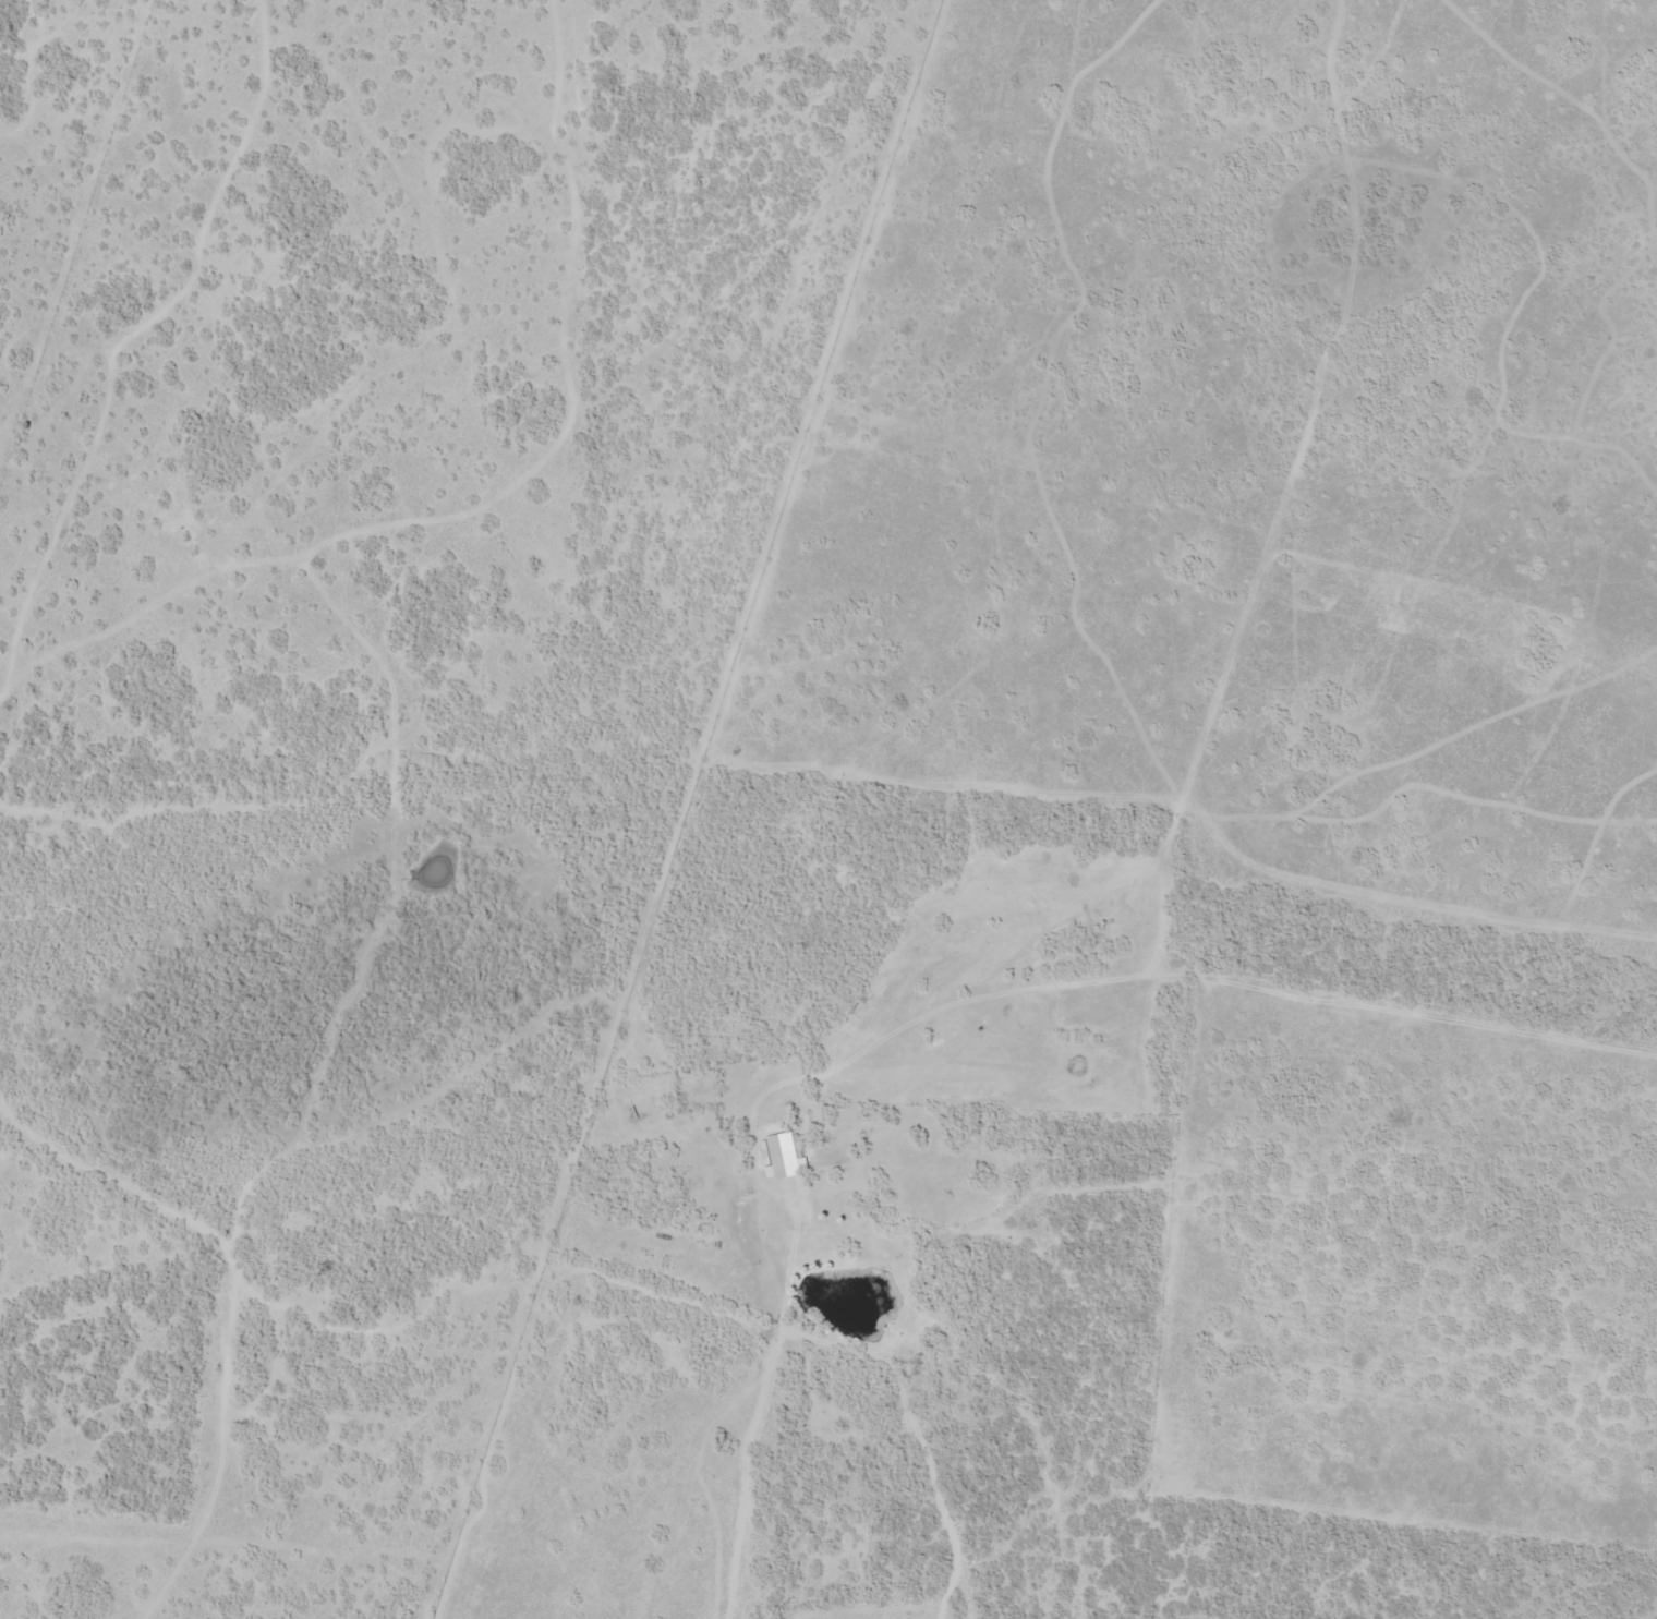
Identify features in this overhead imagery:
building: (778, 1153)
road: (778, 1409)

